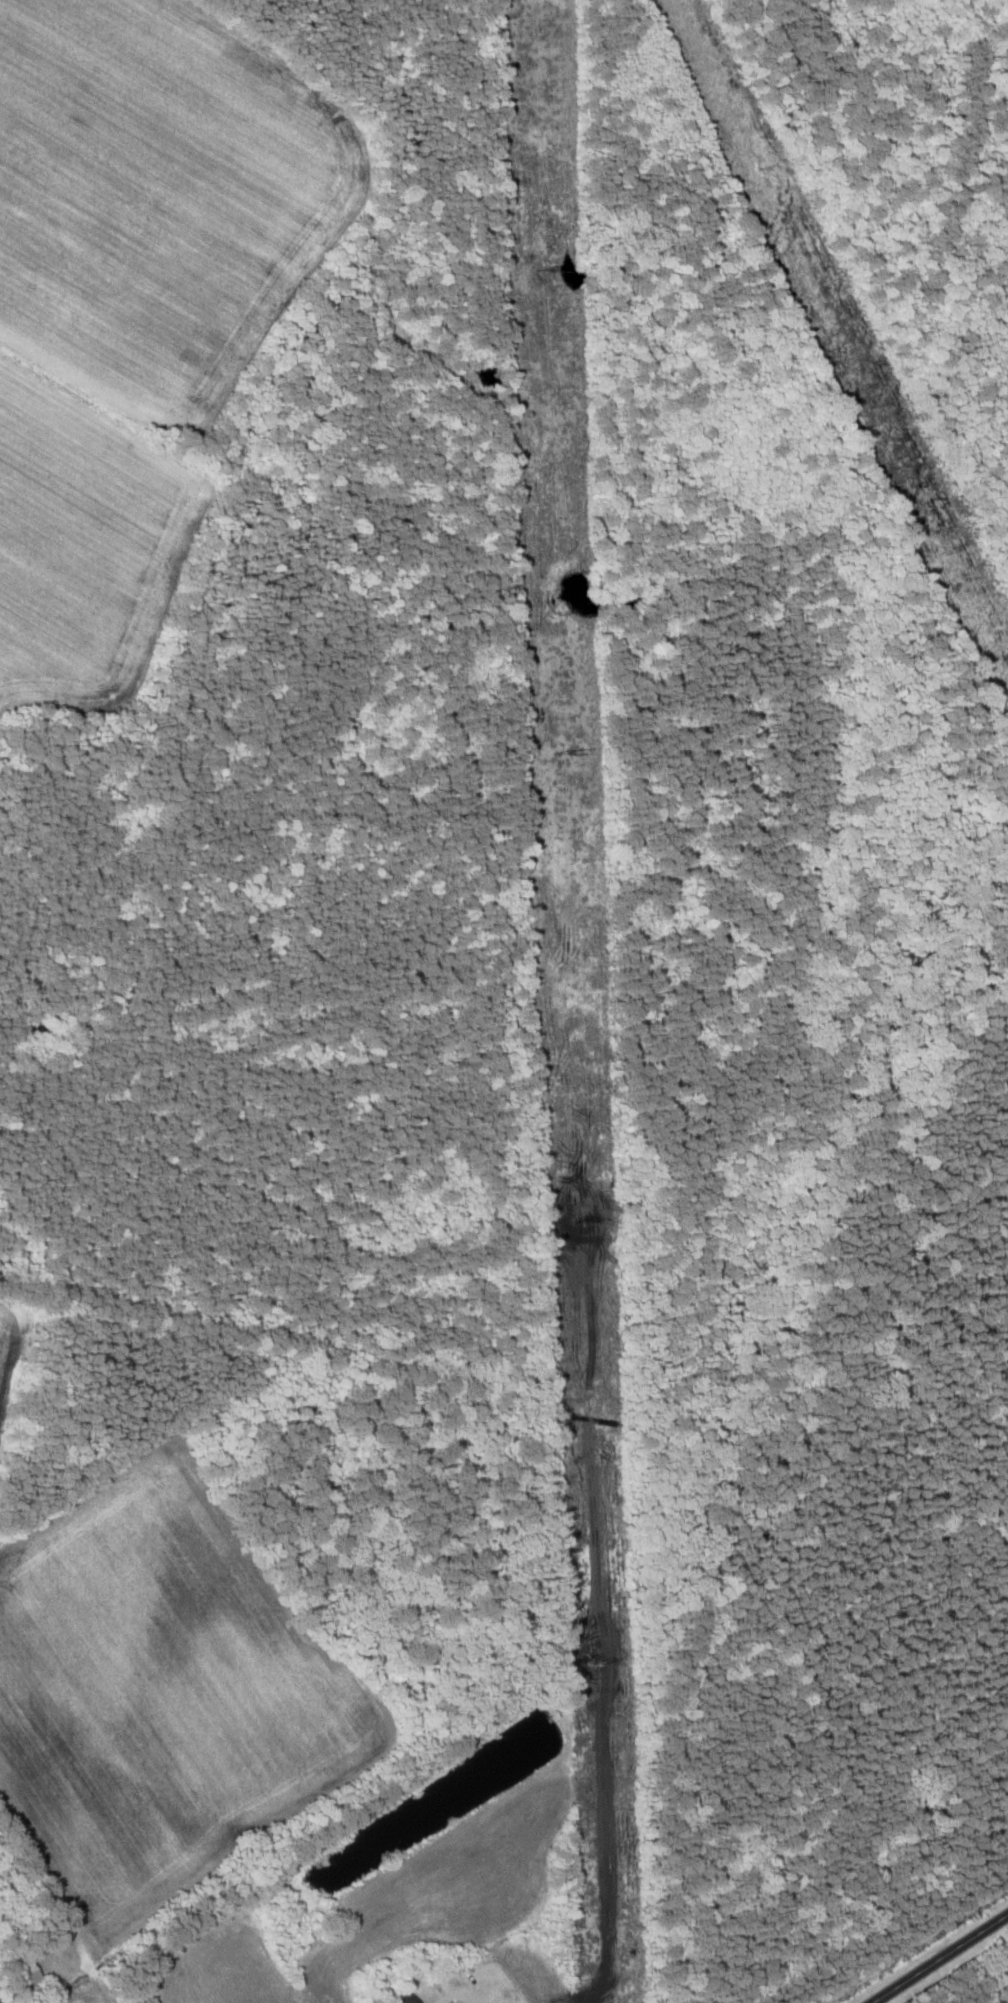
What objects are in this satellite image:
power tower: (554, 272)
power tower: (564, 753)
power tower: (578, 1222)
power tower: (599, 1660)
road: (939, 1958)
building: (30, 1980)
building: (405, 1998)

